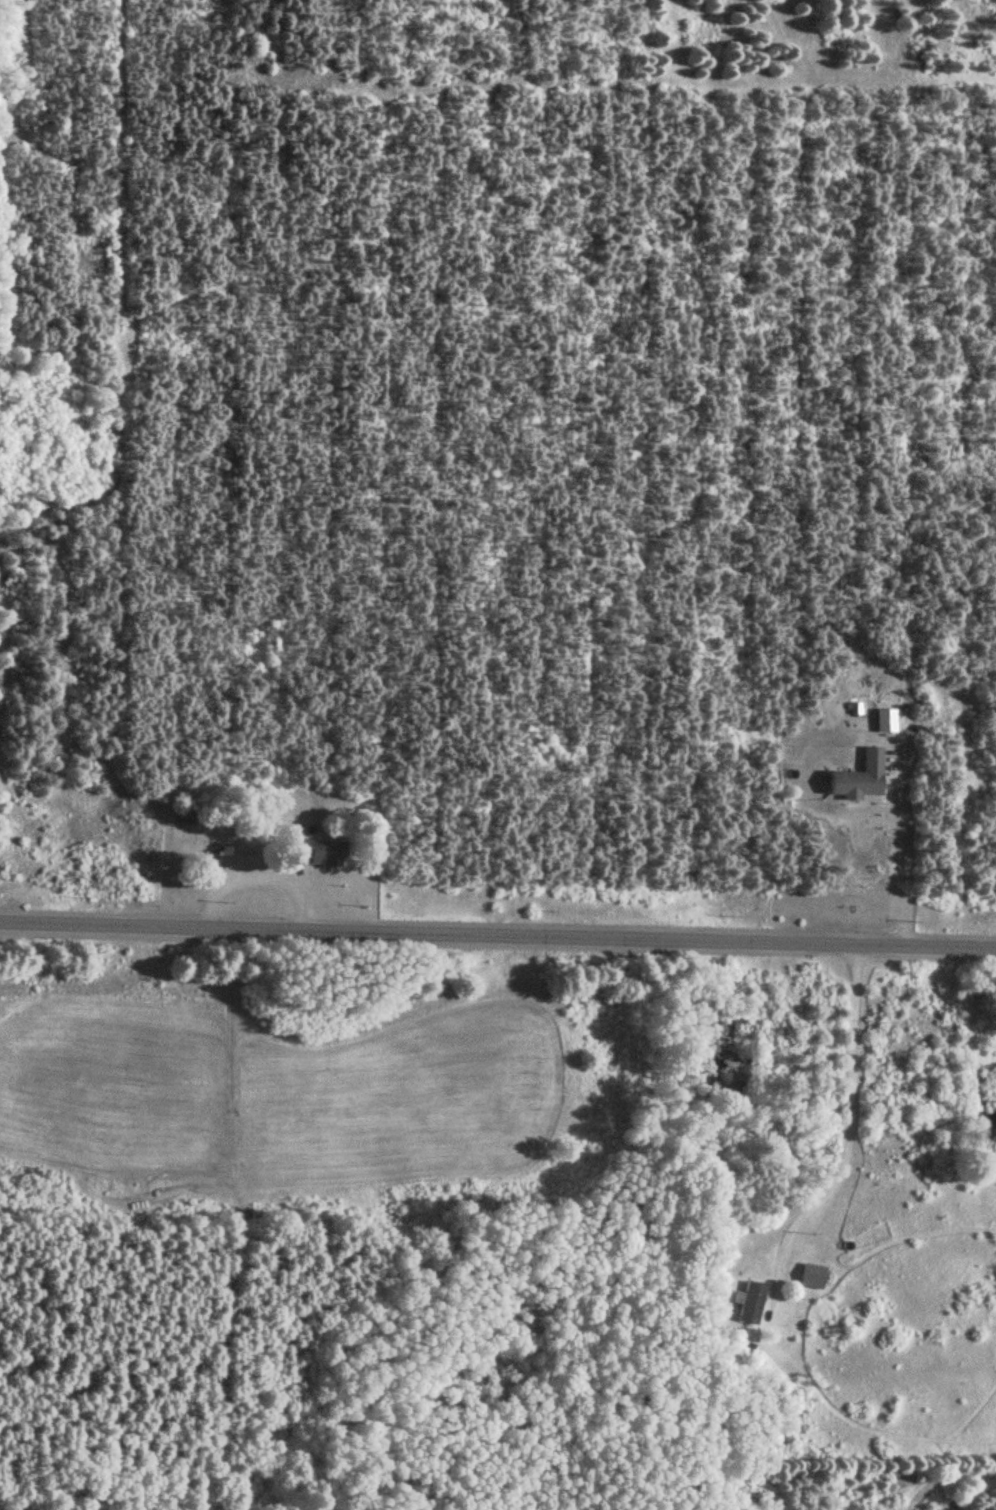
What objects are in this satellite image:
building: (859, 778)
building: (319, 853)
road: (498, 934)
road: (845, 1134)
building: (810, 1275)
building: (751, 1303)

